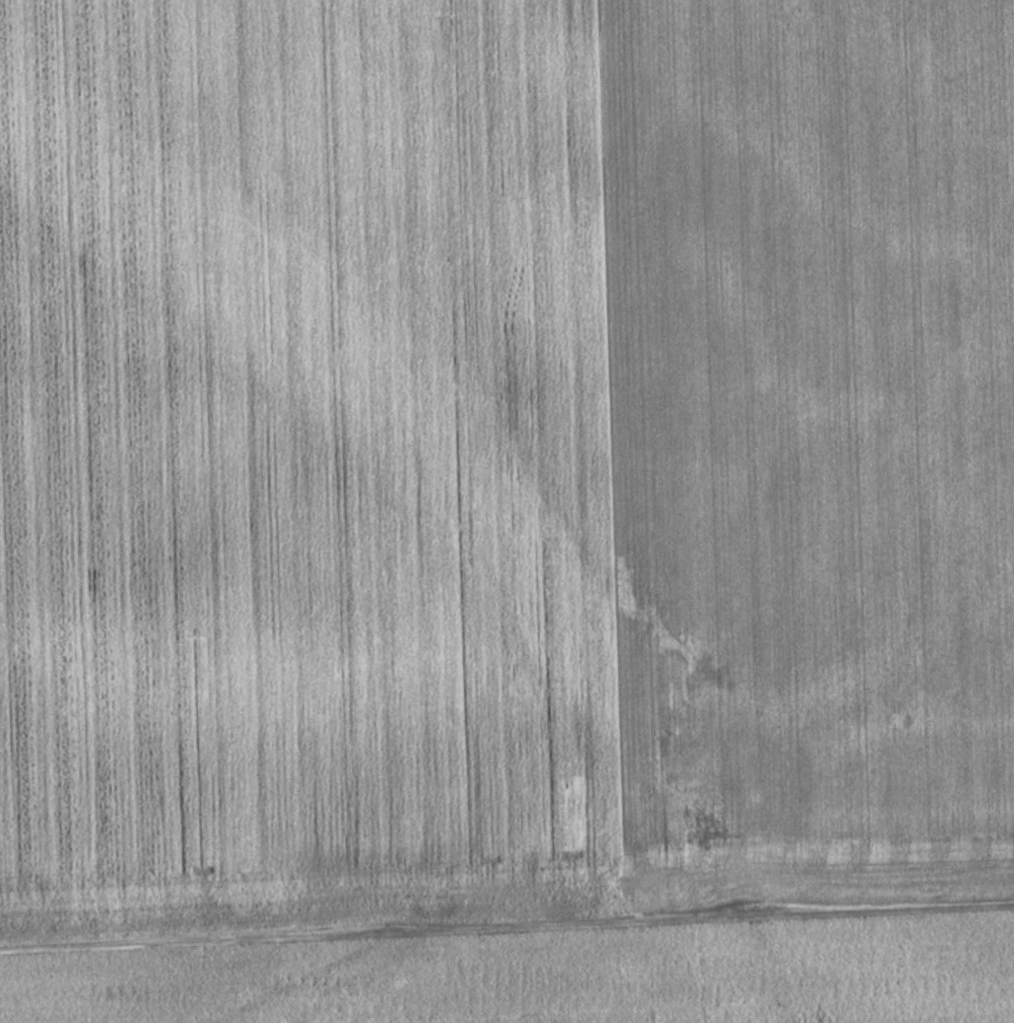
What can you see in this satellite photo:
crop: (502, 455)

